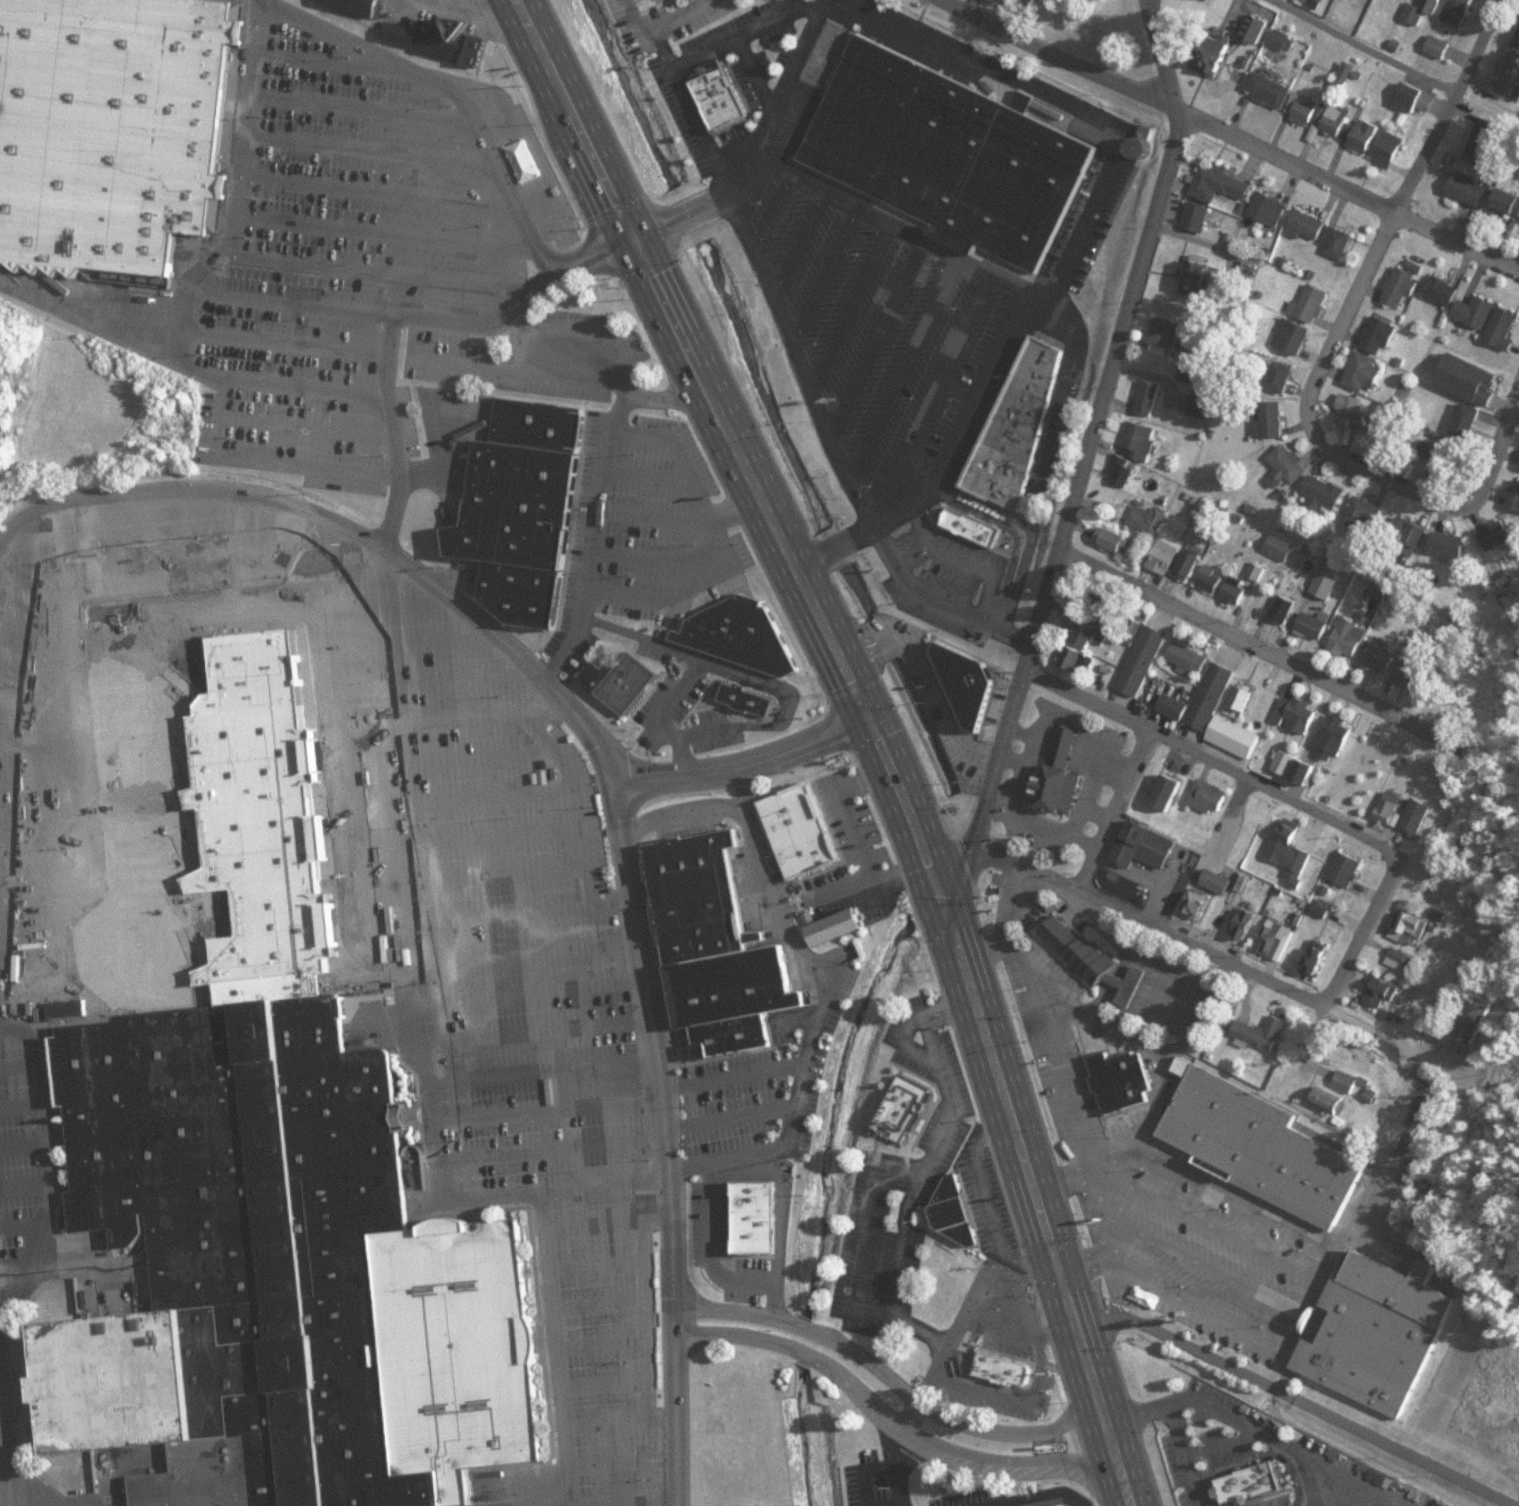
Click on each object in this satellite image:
road: (1147, 0)
building: (692, 1)
building: (359, 2)
building: (1422, 10)
building: (1459, 11)
road: (678, 17)
building: (1256, 28)
building: (431, 30)
building: (1281, 39)
road: (733, 40)
building: (1439, 46)
road: (1357, 47)
building: (1517, 47)
building: (1212, 52)
road: (1059, 56)
road: (1162, 56)
road: (330, 62)
building: (1510, 76)
parking lot: (722, 78)
building: (714, 89)
building: (1270, 90)
road: (452, 92)
road: (679, 94)
building: (1412, 97)
road: (357, 107)
building: (1304, 108)
road: (1448, 108)
building: (1334, 119)
building: (104, 124)
building: (1366, 135)
building: (935, 137)
building: (1485, 140)
building: (1390, 147)
road: (366, 149)
road: (528, 154)
road: (1286, 160)
building: (1221, 182)
building: (1470, 188)
road: (374, 191)
building: (1508, 202)
building: (1270, 208)
building: (1199, 216)
traffic signals: (631, 224)
building: (1309, 224)
parking lot: (341, 231)
road: (382, 234)
building: (1339, 242)
road: (1456, 243)
road: (217, 259)
road: (382, 271)
building: (1198, 277)
building: (1402, 286)
building: (1443, 289)
building: (1315, 302)
road: (1343, 311)
building: (1478, 311)
road: (776, 315)
road: (413, 317)
road: (87, 323)
building: (1504, 328)
building: (1166, 331)
building: (1381, 334)
building: (1294, 336)
building: (1192, 339)
road: (283, 343)
gas station: (569, 350)
parking lot: (887, 354)
road: (694, 363)
parking lot: (487, 368)
building: (1366, 371)
building: (1279, 376)
building: (1470, 378)
road: (1104, 379)
road: (305, 388)
building: (1149, 397)
building: (1201, 405)
building: (1353, 411)
building: (530, 412)
building: (1012, 418)
building: (1272, 420)
building: (1466, 420)
road: (645, 422)
road: (308, 427)
building: (1142, 440)
road: (1496, 442)
road: (213, 449)
building: (1440, 457)
road: (650, 463)
building: (1288, 466)
building: (1125, 474)
road: (1378, 474)
road: (188, 487)
road: (699, 489)
building: (509, 493)
building: (1323, 493)
road: (731, 496)
building: (1515, 497)
road: (599, 503)
road: (654, 507)
building: (1365, 512)
building: (968, 515)
building: (1149, 518)
parking lot: (638, 522)
building: (1408, 533)
building: (1497, 536)
building: (1115, 539)
building: (1450, 545)
road: (651, 547)
building: (1282, 547)
building: (1164, 556)
building: (1188, 566)
building: (1258, 571)
building: (1212, 579)
building: (513, 580)
road: (898, 584)
building: (1328, 584)
road: (657, 588)
building: (1237, 589)
building: (1285, 609)
building: (1315, 625)
building: (741, 635)
building: (1090, 636)
building: (1350, 638)
road: (1250, 642)
road: (516, 651)
building: (1190, 657)
building: (1381, 659)
building: (1143, 660)
building: (1080, 661)
building: (1413, 673)
building: (623, 682)
building: (962, 684)
building: (1213, 695)
building: (1245, 696)
building: (1175, 706)
building: (1299, 713)
traffic signals: (873, 726)
building: (1336, 734)
building: (1232, 741)
road: (1208, 756)
building: (1287, 762)
road: (746, 766)
road: (992, 768)
building: (1305, 772)
building: (1055, 779)
building: (1168, 793)
building: (1210, 796)
road: (902, 802)
road: (1110, 806)
building: (1389, 810)
road: (845, 813)
building: (1418, 817)
road: (684, 819)
building: (801, 834)
parking lot: (845, 845)
building: (1146, 846)
building: (1291, 857)
building: (1347, 868)
traffic signals: (933, 878)
road: (874, 882)
building: (1218, 882)
road: (1007, 899)
building: (701, 900)
building: (1198, 904)
road: (1344, 921)
building: (1246, 923)
road: (1361, 927)
building: (839, 928)
building: (1412, 929)
building: (1272, 938)
road: (1202, 947)
road: (985, 952)
building: (1317, 959)
building: (1401, 959)
building: (1088, 961)
parking lot: (511, 978)
building: (736, 989)
building: (1381, 994)
road: (1068, 1003)
road: (819, 1007)
building: (1476, 1018)
building: (1262, 1033)
building: (736, 1038)
road: (1057, 1053)
road: (734, 1075)
building: (1347, 1081)
building: (1116, 1082)
parking lot: (746, 1095)
building: (1330, 1100)
road: (732, 1114)
building: (904, 1114)
road: (1017, 1141)
road: (666, 1143)
building: (1254, 1147)
road: (555, 1149)
road: (923, 1156)
road: (1116, 1156)
parking lot: (901, 1176)
parking lot: (1157, 1178)
road: (1231, 1193)
road: (543, 1194)
road: (1106, 1206)
road: (985, 1210)
building: (959, 1217)
road: (605, 1223)
road: (1202, 1224)
road: (783, 1234)
road: (868, 1236)
road: (710, 1243)
road: (596, 1263)
road: (1204, 1266)
building: (281, 1276)
road: (1305, 1292)
road: (1194, 1300)
road: (598, 1305)
building: (1372, 1335)
road: (600, 1342)
building: (994, 1344)
parking lot: (1026, 1344)
road: (647, 1345)
road: (553, 1351)
road: (1028, 1356)
road: (933, 1358)
road: (1282, 1365)
road: (883, 1374)
road: (1299, 1392)
road: (1232, 1412)
road: (878, 1415)
road: (612, 1421)
road: (1223, 1445)
parking lot: (1210, 1447)
road: (1183, 1454)
road: (1113, 1456)
road: (614, 1461)
parking lot: (864, 1478)
building: (1247, 1480)
road: (1038, 1496)
road: (617, 1501)

